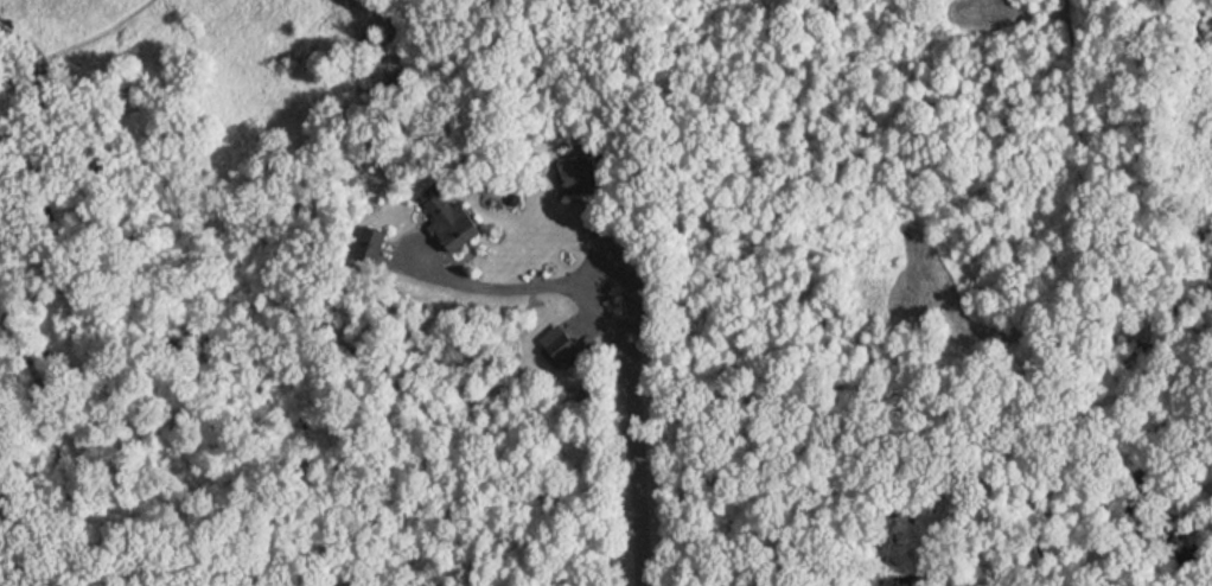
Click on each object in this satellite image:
building: (580, 173)
building: (458, 223)
road: (597, 265)
road: (453, 267)
building: (563, 344)
road: (636, 459)

